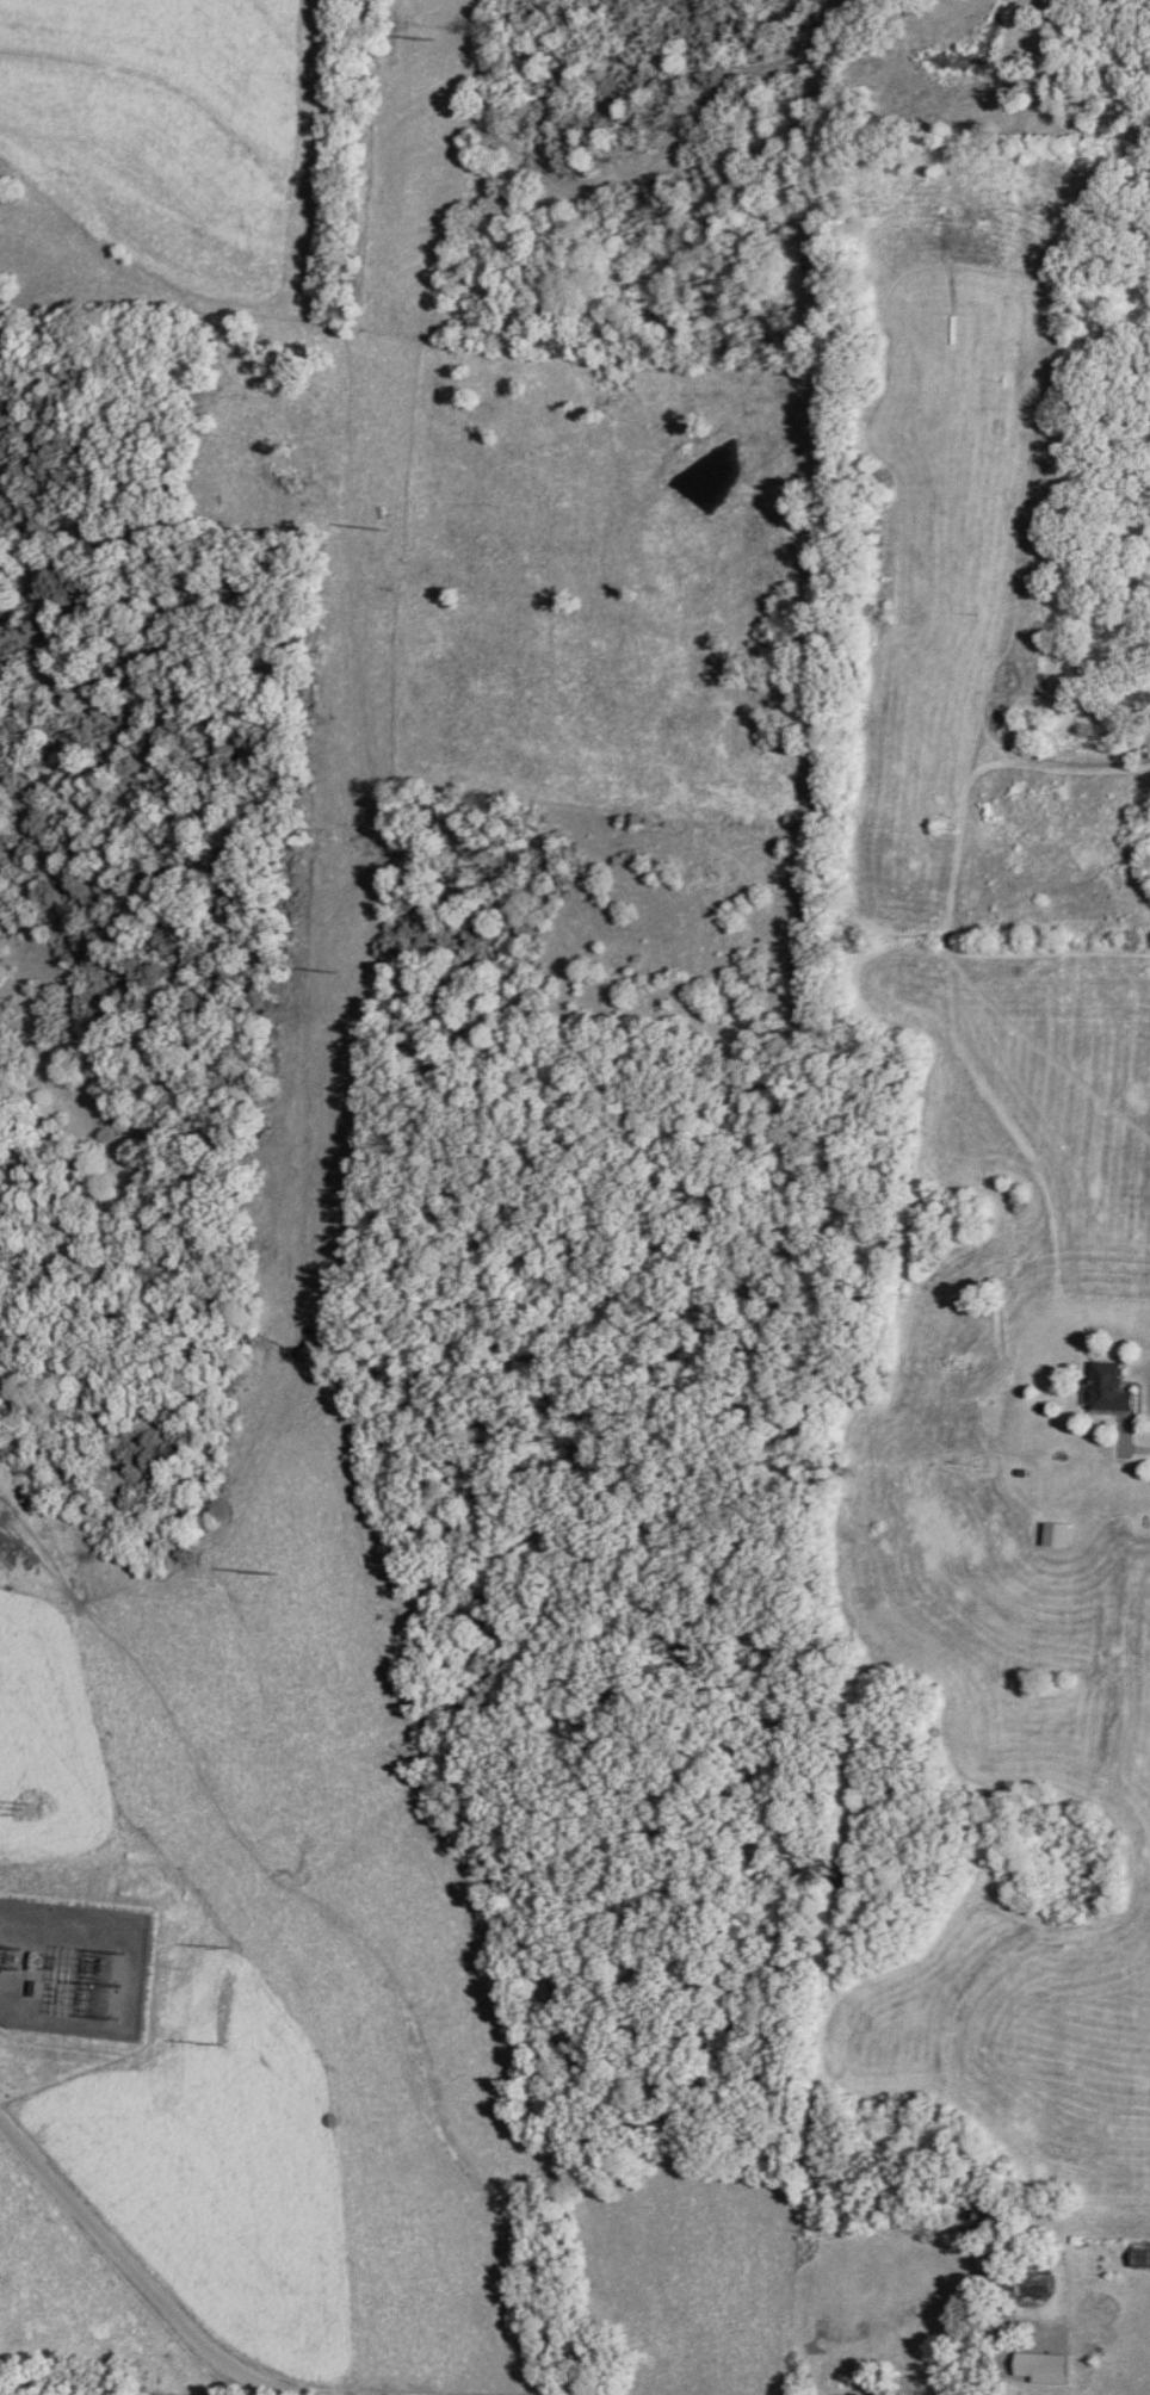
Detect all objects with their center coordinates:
power tower: (419, 37)
power tower: (370, 524)
power tower: (327, 968)
building: (1106, 1386)
road: (1129, 1441)
building: (1055, 1535)
power tower: (261, 1564)
power tower: (98, 1937)
power tower: (228, 1941)
power substation: (72, 1966)
building: (35, 1989)
power tower: (217, 2042)
building: (1138, 2258)
road: (130, 2269)
building: (1013, 2276)
road: (952, 2348)
power tower: (168, 2394)

